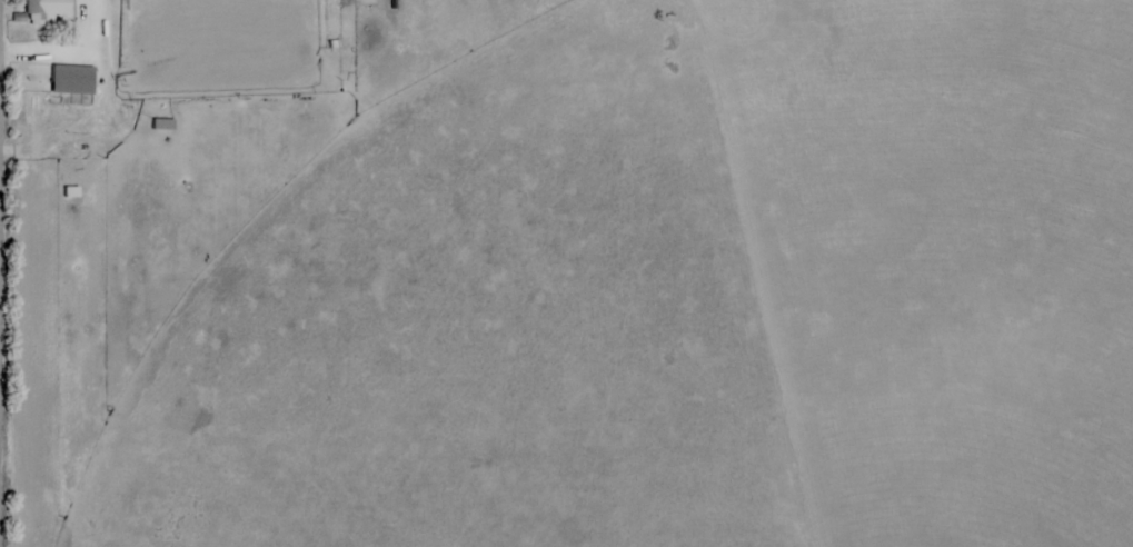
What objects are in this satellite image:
building: (43, 9)
road: (77, 59)
building: (69, 80)
road: (2, 296)

